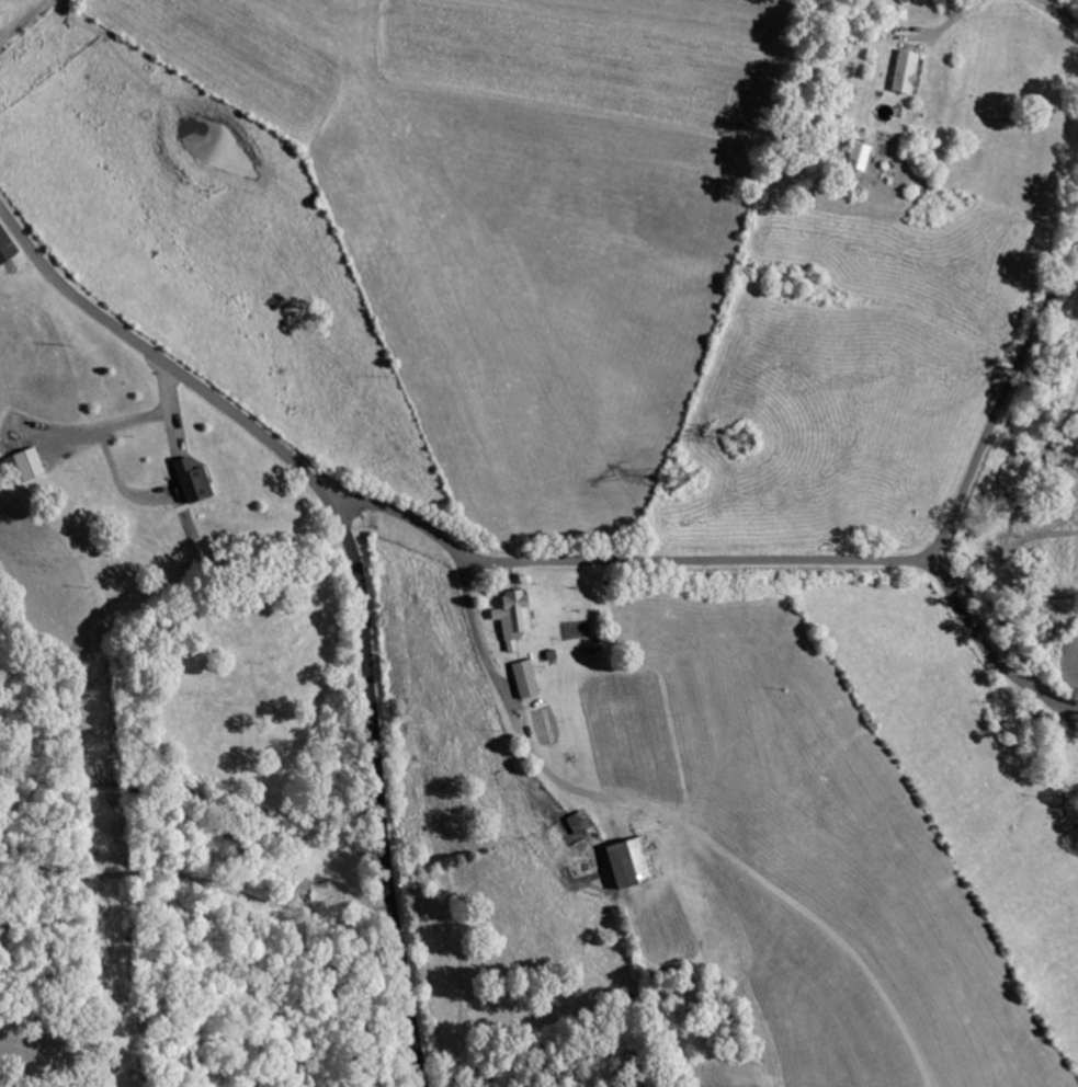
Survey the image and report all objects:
road: (1059, 11)
road: (953, 18)
building: (896, 69)
building: (850, 155)
building: (4, 247)
road: (1003, 394)
power tower: (733, 438)
building: (16, 464)
building: (184, 480)
power tower: (667, 484)
road: (730, 560)
road: (933, 562)
road: (356, 570)
building: (506, 616)
building: (517, 677)
road: (450, 684)
road: (1067, 716)
building: (570, 820)
building: (624, 859)

